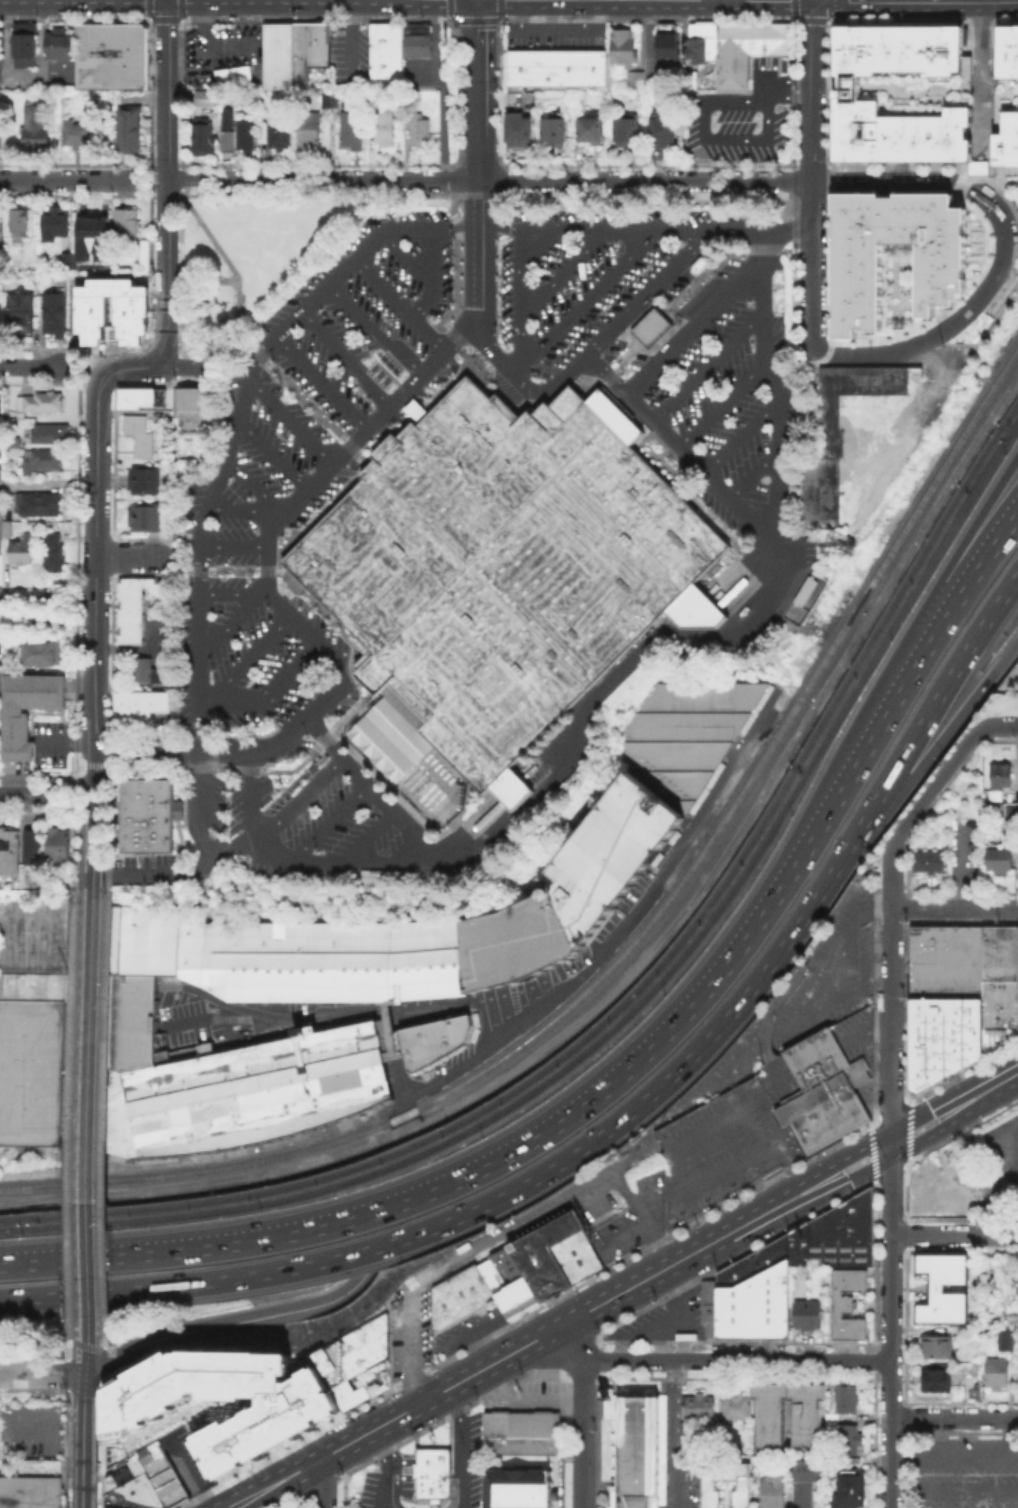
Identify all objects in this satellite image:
road: (449, 3)
road: (470, 3)
road: (480, 3)
road: (500, 3)
road: (438, 6)
road: (232, 7)
traffic signals: (477, 7)
road: (555, 7)
road: (966, 27)
road: (549, 29)
road: (206, 32)
parking lot: (553, 35)
building: (413, 38)
building: (664, 39)
building: (701, 41)
building: (622, 42)
building: (22, 43)
building: (56, 43)
building: (307, 49)
building: (743, 50)
parking lot: (219, 51)
parking lot: (347, 52)
building: (382, 52)
building: (275, 54)
parking lot: (0, 56)
building: (113, 57)
building: (553, 65)
parking lot: (418, 69)
road: (968, 71)
road: (984, 71)
road: (1008, 71)
road: (979, 74)
building: (635, 77)
building: (688, 77)
building: (236, 78)
road: (987, 84)
road: (1007, 84)
road: (990, 85)
road: (966, 86)
road: (810, 89)
building: (926, 93)
parking lot: (926, 93)
road: (476, 94)
building: (200, 96)
building: (330, 101)
road: (968, 103)
road: (980, 103)
road: (1005, 106)
road: (985, 107)
parking lot: (738, 116)
building: (227, 117)
building: (550, 125)
building: (416, 127)
building: (514, 127)
building: (585, 127)
building: (127, 128)
building: (348, 128)
building: (380, 128)
building: (622, 128)
building: (659, 128)
building: (304, 129)
building: (32, 130)
building: (74, 131)
building: (260, 131)
building: (275, 131)
building: (241, 133)
building: (206, 139)
road: (929, 149)
road: (129, 163)
road: (181, 163)
road: (901, 172)
road: (976, 176)
road: (149, 178)
road: (210, 178)
road: (365, 180)
road: (643, 180)
road: (879, 180)
road: (982, 180)
road: (64, 181)
road: (166, 185)
road: (132, 194)
road: (166, 194)
building: (17, 221)
building: (51, 222)
building: (125, 224)
building: (89, 226)
road: (456, 226)
road: (499, 227)
road: (610, 229)
road: (733, 229)
road: (787, 229)
building: (0, 237)
park: (258, 254)
parking lot: (547, 255)
road: (407, 260)
building: (699, 263)
building: (70, 264)
road: (809, 265)
building: (940, 267)
road: (563, 269)
road: (431, 276)
parking lot: (570, 284)
parking lot: (501, 295)
road: (518, 296)
road: (586, 296)
road: (398, 306)
building: (109, 309)
road: (966, 310)
building: (19, 311)
building: (53, 313)
parking lot: (593, 313)
road: (693, 325)
building: (651, 326)
road: (373, 331)
road: (241, 333)
road: (198, 334)
road: (589, 346)
parking lot: (695, 350)
road: (347, 357)
parking lot: (349, 362)
road: (29, 366)
road: (177, 366)
road: (705, 366)
road: (83, 367)
road: (515, 367)
road: (122, 369)
road: (321, 383)
parking lot: (711, 384)
road: (773, 384)
building: (850, 392)
building: (131, 395)
building: (38, 400)
road: (720, 403)
building: (187, 410)
building: (414, 410)
parking lot: (735, 413)
road: (290, 421)
building: (131, 422)
building: (23, 424)
parking lot: (3, 433)
building: (43, 433)
road: (740, 437)
road: (230, 441)
building: (139, 443)
road: (272, 454)
parking lot: (744, 456)
building: (38, 459)
road: (753, 475)
building: (147, 483)
road: (33, 485)
road: (82, 485)
road: (254, 486)
parking lot: (754, 492)
road: (298, 499)
building: (32, 506)
road: (242, 507)
building: (142, 515)
parking lot: (248, 529)
building: (8, 531)
road: (231, 544)
building: (22, 552)
building: (54, 553)
parking lot: (234, 553)
road: (129, 556)
road: (211, 569)
building: (500, 574)
road: (95, 589)
building: (804, 589)
road: (231, 590)
road: (28, 603)
road: (76, 603)
building: (135, 607)
road: (230, 621)
railway: (875, 627)
railway: (880, 639)
road: (901, 644)
parking lot: (247, 651)
building: (42, 653)
road: (629, 657)
road: (242, 660)
building: (135, 668)
road: (909, 676)
road: (266, 694)
building: (136, 709)
building: (28, 711)
road: (1002, 725)
building: (681, 733)
road: (912, 736)
road: (144, 748)
road: (915, 772)
building: (1002, 777)
road: (935, 784)
road: (25, 794)
road: (64, 794)
road: (249, 798)
road: (295, 801)
building: (1011, 811)
building: (142, 816)
road: (329, 822)
building: (1005, 824)
parking lot: (965, 830)
parking lot: (185, 838)
road: (365, 838)
road: (81, 844)
parking lot: (385, 844)
road: (92, 845)
building: (60, 848)
building: (35, 849)
building: (13, 852)
building: (608, 852)
road: (204, 859)
building: (926, 860)
building: (1001, 862)
road: (317, 863)
road: (958, 869)
water tower: (549, 892)
road: (954, 909)
building: (34, 934)
railway: (634, 939)
building: (515, 941)
road: (606, 948)
road: (637, 960)
parking lot: (832, 970)
road: (132, 986)
building: (961, 998)
road: (456, 1003)
road: (265, 1010)
road: (384, 1011)
building: (387, 1032)
building: (334, 1033)
parking lot: (857, 1035)
building: (431, 1040)
building: (32, 1056)
parking lot: (720, 1070)
building: (825, 1094)
road: (89, 1116)
road: (77, 1117)
railway: (420, 1139)
parking lot: (728, 1141)
railway: (425, 1149)
road: (507, 1155)
road: (890, 1178)
building: (935, 1193)
parking lot: (627, 1210)
road: (462, 1212)
road: (644, 1215)
road: (532, 1218)
building: (856, 1227)
road: (954, 1236)
building: (816, 1238)
building: (546, 1254)
building: (577, 1256)
road: (43, 1262)
building: (753, 1262)
building: (510, 1281)
road: (626, 1289)
building: (946, 1289)
building: (461, 1296)
building: (849, 1304)
building: (754, 1308)
building: (809, 1315)
parking lot: (664, 1317)
road: (222, 1324)
parking lot: (446, 1331)
road: (75, 1339)
road: (73, 1340)
road: (86, 1340)
building: (1012, 1343)
road: (80, 1344)
road: (410, 1344)
building: (938, 1349)
road: (85, 1359)
building: (352, 1359)
road: (707, 1360)
road: (72, 1361)
road: (42, 1373)
building: (998, 1377)
building: (942, 1381)
parking lot: (527, 1393)
building: (849, 1401)
building: (700, 1406)
building: (736, 1407)
road: (583, 1413)
building: (286, 1416)
road: (954, 1417)
building: (809, 1424)
parking lot: (29, 1432)
building: (522, 1433)
road: (675, 1434)
road: (1008, 1434)
building: (848, 1439)
road: (83, 1441)
road: (462, 1447)
building: (639, 1451)
road: (954, 1452)
parking lot: (399, 1458)
road: (386, 1467)
parking lot: (965, 1471)
building: (434, 1472)
building: (161, 1473)
building: (144, 1481)
road: (452, 1481)
building: (806, 1482)
road: (395, 1483)
road: (320, 1485)
building: (708, 1485)
building: (122, 1488)
building: (518, 1489)
road: (954, 1489)
building: (773, 1490)
building: (851, 1492)
building: (31, 1494)
road: (241, 1506)
building: (301, 1506)

